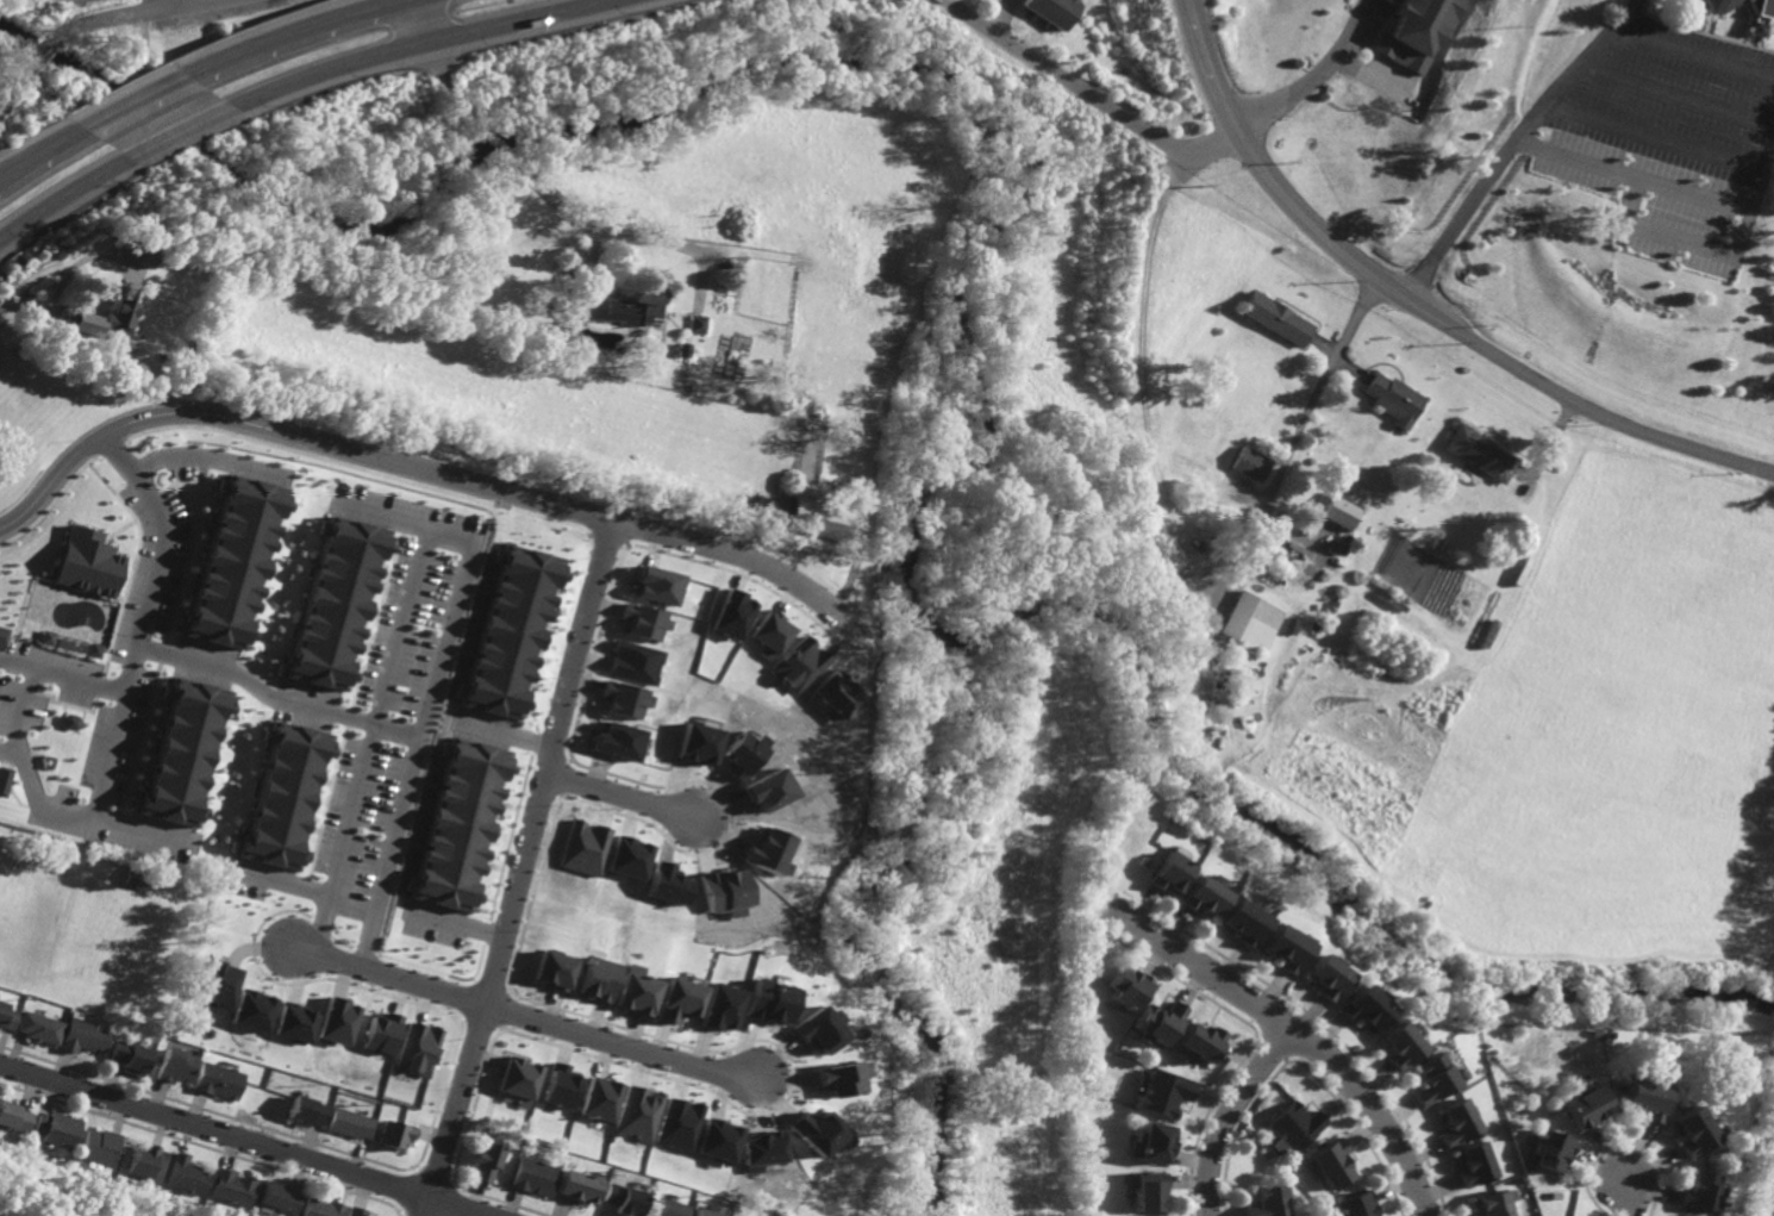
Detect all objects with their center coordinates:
building: (1720, 5)
building: (1049, 10)
road: (125, 15)
building: (1761, 17)
road: (419, 20)
road: (512, 20)
road: (285, 30)
building: (1414, 32)
road: (1695, 55)
road: (37, 56)
road: (326, 67)
road: (1578, 68)
road: (1311, 75)
road: (1374, 81)
road: (11, 87)
road: (450, 91)
road: (1673, 98)
road: (131, 100)
road: (1108, 107)
road: (179, 132)
road: (1651, 135)
road: (499, 142)
road: (39, 149)
road: (1691, 193)
road: (61, 198)
road: (566, 205)
road: (1462, 219)
road: (1669, 237)
road: (644, 238)
building: (132, 252)
road: (33, 285)
building: (623, 306)
road: (1417, 306)
building: (107, 318)
building: (1280, 319)
building: (698, 324)
building: (125, 344)
building: (683, 349)
building: (1391, 399)
road: (1295, 439)
building: (1482, 453)
road: (204, 456)
building: (1251, 463)
road: (416, 469)
building: (814, 507)
building: (1341, 512)
road: (445, 537)
building: (232, 562)
building: (88, 565)
building: (658, 585)
building: (336, 604)
building: (731, 615)
building: (1249, 621)
building: (646, 622)
building: (1289, 625)
building: (511, 632)
building: (770, 635)
building: (2, 636)
building: (95, 650)
road: (162, 657)
building: (638, 662)
building: (799, 665)
road: (15, 667)
road: (131, 672)
building: (836, 694)
building: (626, 698)
building: (618, 741)
building: (698, 743)
road: (8, 753)
building: (185, 753)
building: (739, 754)
building: (4, 780)
road: (26, 782)
building: (766, 790)
building: (286, 794)
road: (620, 797)
building: (461, 825)
building: (583, 847)
building: (764, 852)
building: (627, 858)
road: (520, 868)
building: (1168, 873)
road: (283, 881)
building: (664, 885)
building: (723, 890)
building: (1201, 896)
building: (1243, 923)
building: (1283, 949)
building: (552, 969)
building: (1326, 975)
building: (596, 979)
building: (215, 985)
building: (1126, 990)
building: (636, 991)
building: (677, 999)
building: (764, 1002)
building: (718, 1006)
building: (1366, 1008)
building: (250, 1010)
road: (523, 1016)
building: (6, 1017)
building: (335, 1021)
building: (1160, 1021)
road: (1282, 1021)
building: (292, 1023)
building: (39, 1028)
building: (816, 1028)
building: (379, 1034)
building: (82, 1035)
building: (1200, 1042)
building: (1399, 1043)
building: (417, 1049)
building: (130, 1056)
building: (175, 1065)
building: (837, 1078)
building: (1433, 1078)
building: (215, 1080)
building: (518, 1080)
building: (560, 1086)
building: (1644, 1093)
building: (1163, 1095)
building: (599, 1098)
building: (1585, 1105)
building: (306, 1110)
building: (637, 1114)
road: (1229, 1114)
building: (15, 1116)
building: (1457, 1122)
building: (348, 1123)
building: (676, 1125)
building: (1297, 1125)
building: (58, 1129)
building: (1691, 1129)
building: (814, 1131)
building: (394, 1134)
road: (245, 1140)
building: (714, 1141)
building: (1154, 1142)
building: (100, 1147)
building: (760, 1147)
building: (1549, 1150)
building: (144, 1160)
building: (486, 1161)
building: (1331, 1164)
building: (1475, 1164)
building: (187, 1176)
building: (532, 1177)
building: (576, 1186)
building: (231, 1187)
building: (1149, 1192)
building: (1700, 1192)
building: (279, 1197)
building: (621, 1199)
building: (1269, 1201)
road: (1629, 1201)
building: (1495, 1203)
building: (1354, 1205)
building: (320, 1206)
building: (664, 1209)
building: (355, 1211)
building: (704, 1211)

